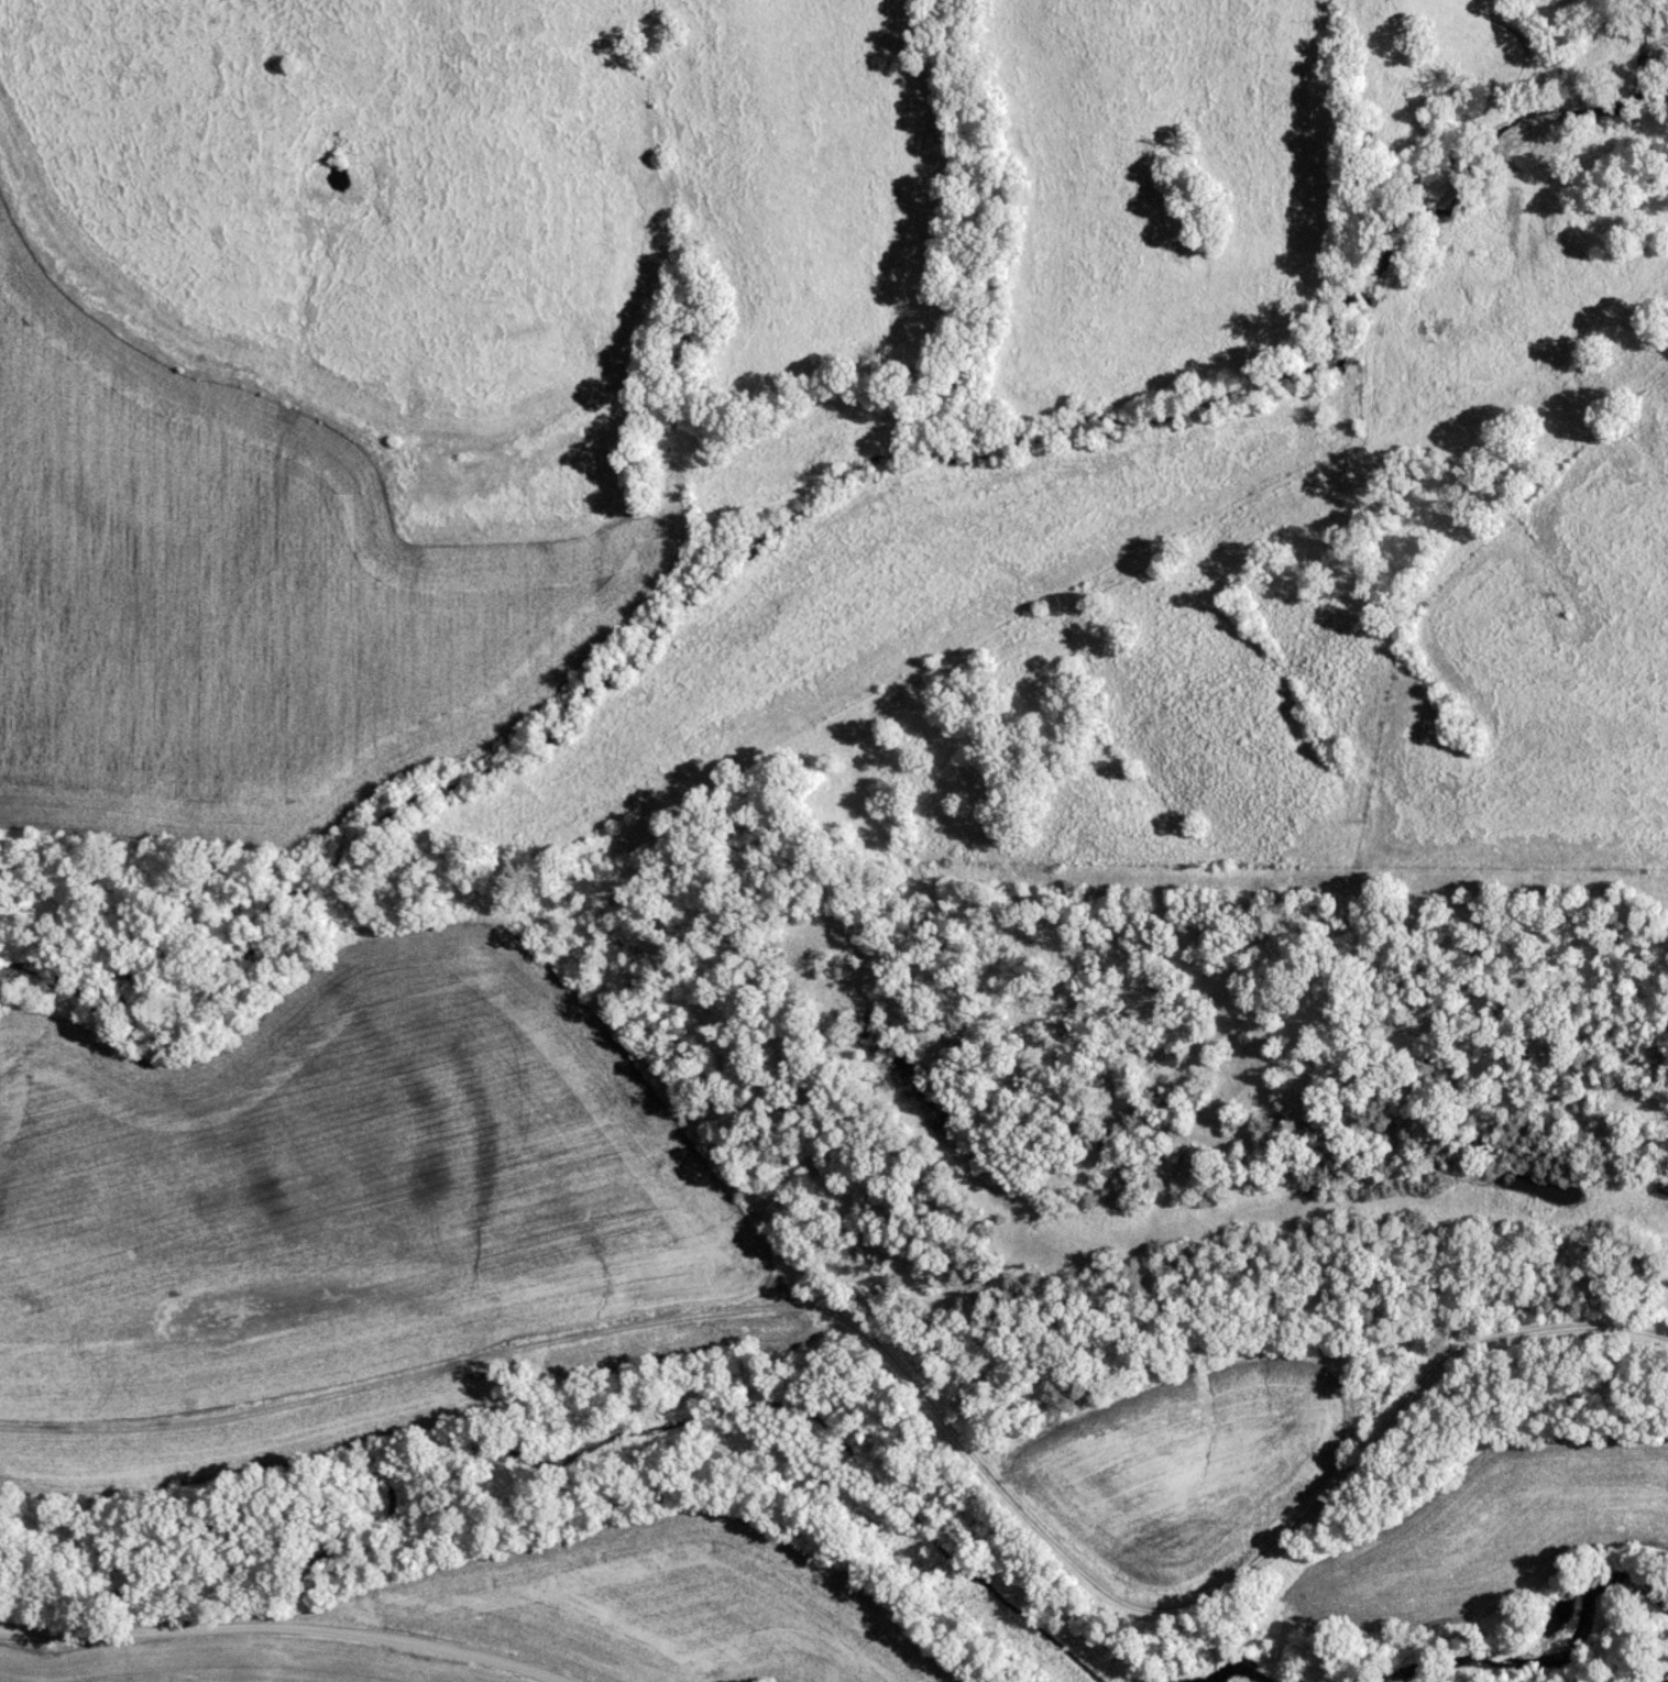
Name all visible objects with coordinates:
road: (915, 1387)
road: (281, 1627)
river: (1461, 1670)

